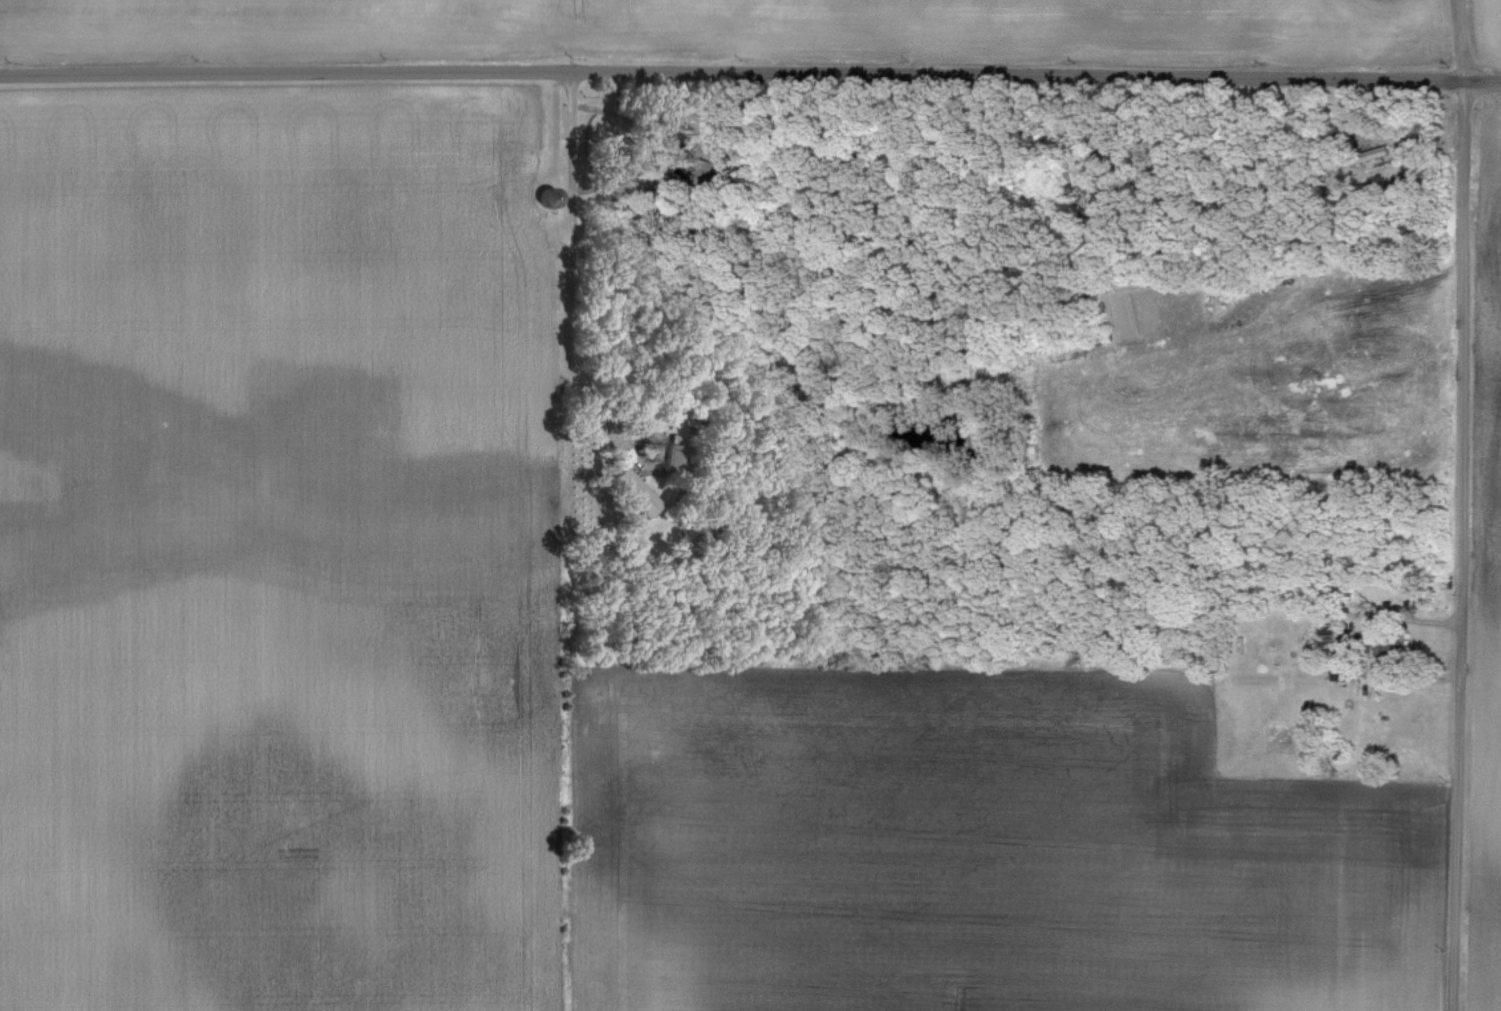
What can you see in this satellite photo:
road: (750, 72)
road: (1385, 136)
road: (568, 270)
building: (636, 490)
road: (1458, 505)
road: (1404, 619)

